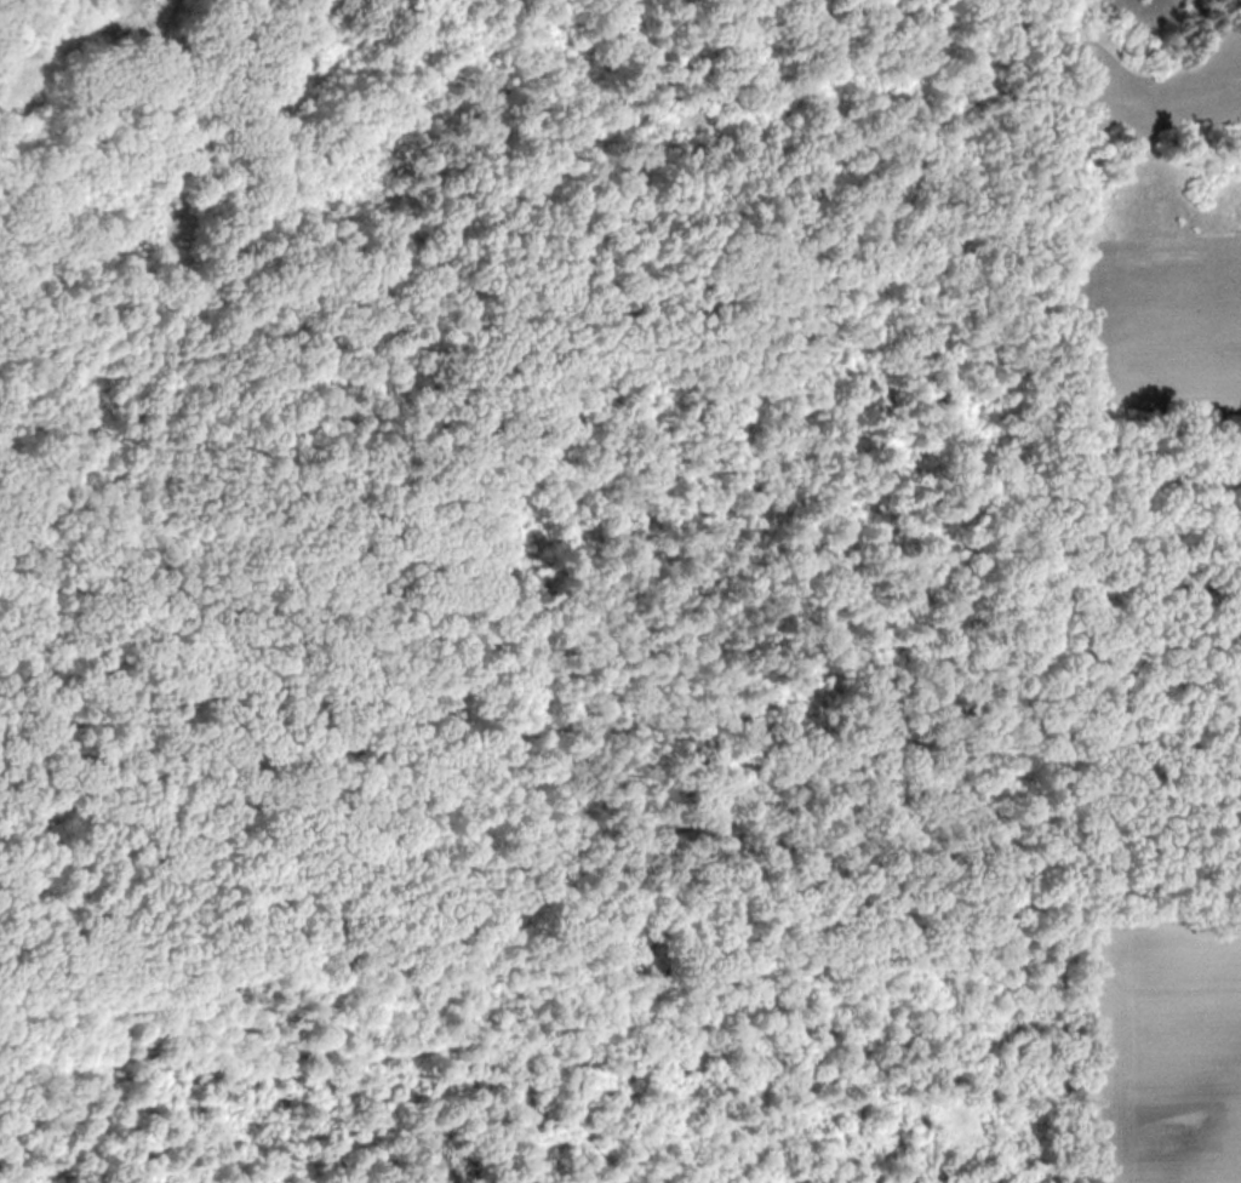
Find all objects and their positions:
park: (589, 594)
road: (1056, 758)
road: (555, 965)
road: (1063, 966)

